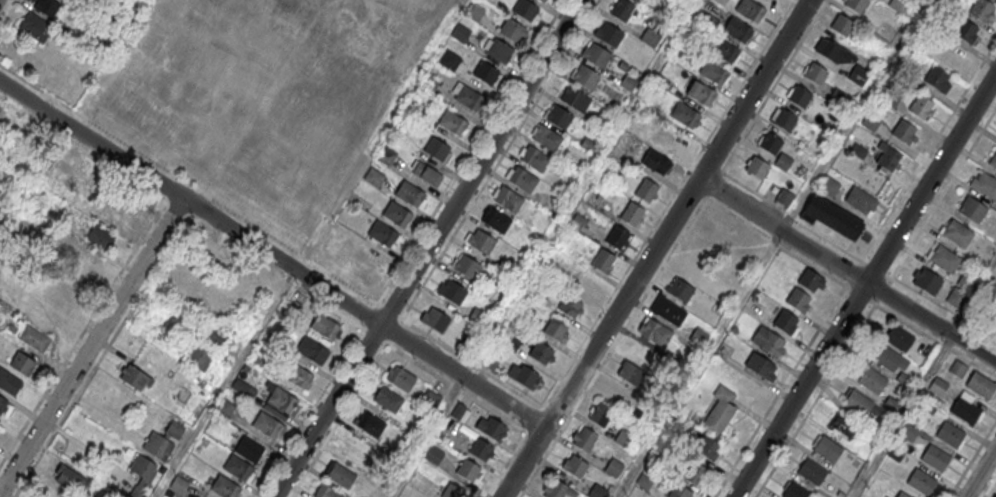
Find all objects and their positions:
building: (539, 0)
building: (721, 2)
building: (856, 4)
building: (899, 5)
building: (47, 7)
building: (622, 9)
building: (525, 10)
building: (751, 10)
building: (980, 10)
road: (7, 11)
building: (475, 12)
building: (349, 21)
building: (842, 24)
building: (35, 27)
building: (738, 29)
building: (512, 30)
building: (966, 31)
building: (460, 32)
building: (608, 34)
building: (650, 38)
building: (499, 50)
building: (725, 50)
building: (833, 52)
building: (595, 55)
building: (450, 59)
building: (622, 66)
building: (713, 71)
building: (485, 73)
building: (815, 74)
building: (858, 75)
building: (584, 77)
building: (937, 79)
building: (628, 83)
road: (774, 85)
building: (700, 91)
building: (468, 97)
building: (574, 97)
building: (799, 97)
building: (838, 97)
building: (921, 107)
building: (685, 114)
building: (557, 117)
building: (784, 120)
building: (871, 120)
building: (451, 122)
building: (602, 122)
building: (904, 131)
building: (545, 137)
building: (670, 138)
building: (770, 143)
building: (437, 150)
road: (928, 151)
building: (386, 155)
building: (886, 157)
building: (533, 158)
road: (499, 159)
building: (783, 160)
building: (993, 160)
building: (656, 161)
building: (69, 164)
building: (756, 168)
building: (427, 173)
building: (374, 176)
building: (521, 179)
road: (188, 183)
building: (828, 185)
building: (984, 186)
building: (645, 190)
building: (410, 195)
building: (784, 196)
building: (506, 198)
building: (861, 199)
road: (740, 203)
road: (666, 205)
building: (972, 210)
building: (396, 214)
building: (631, 214)
building: (833, 217)
building: (495, 220)
building: (719, 227)
building: (382, 234)
building: (957, 234)
building: (100, 236)
building: (617, 238)
building: (479, 241)
road: (910, 245)
road: (427, 248)
road: (655, 248)
building: (707, 251)
road: (272, 255)
road: (162, 258)
building: (943, 259)
building: (367, 261)
building: (602, 261)
building: (465, 266)
building: (505, 269)
road: (656, 277)
building: (811, 280)
building: (926, 281)
building: (966, 281)
road: (865, 285)
road: (845, 286)
building: (479, 287)
building: (226, 288)
building: (679, 289)
building: (451, 292)
road: (888, 295)
building: (956, 297)
road: (974, 299)
building: (799, 300)
building: (291, 306)
building: (570, 306)
building: (667, 309)
building: (477, 317)
road: (89, 320)
building: (434, 320)
building: (786, 323)
building: (324, 325)
building: (555, 329)
building: (654, 331)
building: (34, 337)
building: (212, 338)
building: (899, 338)
road: (852, 340)
building: (767, 341)
building: (468, 342)
road: (90, 344)
building: (511, 344)
building: (314, 350)
building: (541, 353)
building: (198, 356)
building: (889, 357)
road: (469, 361)
building: (489, 362)
building: (22, 363)
building: (760, 366)
building: (957, 369)
building: (630, 373)
building: (298, 375)
building: (134, 376)
building: (527, 376)
building: (401, 379)
building: (872, 379)
building: (9, 381)
road: (225, 383)
building: (980, 385)
building: (937, 386)
road: (324, 388)
road: (779, 391)
building: (619, 393)
building: (281, 399)
building: (429, 399)
road: (475, 399)
building: (387, 400)
building: (857, 402)
building: (5, 407)
building: (964, 410)
building: (719, 412)
building: (459, 413)
building: (601, 415)
road: (902, 415)
road: (338, 420)
building: (266, 423)
building: (0, 425)
building: (370, 425)
building: (843, 425)
building: (490, 428)
building: (909, 431)
building: (949, 434)
building: (623, 439)
building: (163, 440)
building: (585, 440)
building: (249, 448)
building: (708, 448)
building: (480, 449)
building: (827, 449)
building: (895, 453)
building: (433, 456)
building: (935, 457)
road: (972, 459)
building: (237, 466)
building: (574, 466)
building: (612, 468)
building: (470, 472)
building: (811, 472)
road: (981, 472)
building: (694, 473)
building: (143, 474)
building: (341, 475)
building: (68, 478)
building: (921, 482)
building: (178, 485)
building: (224, 487)
road: (989, 487)
building: (556, 489)
building: (327, 491)
building: (680, 491)
building: (795, 491)
building: (454, 492)
building: (597, 492)
building: (902, 494)

